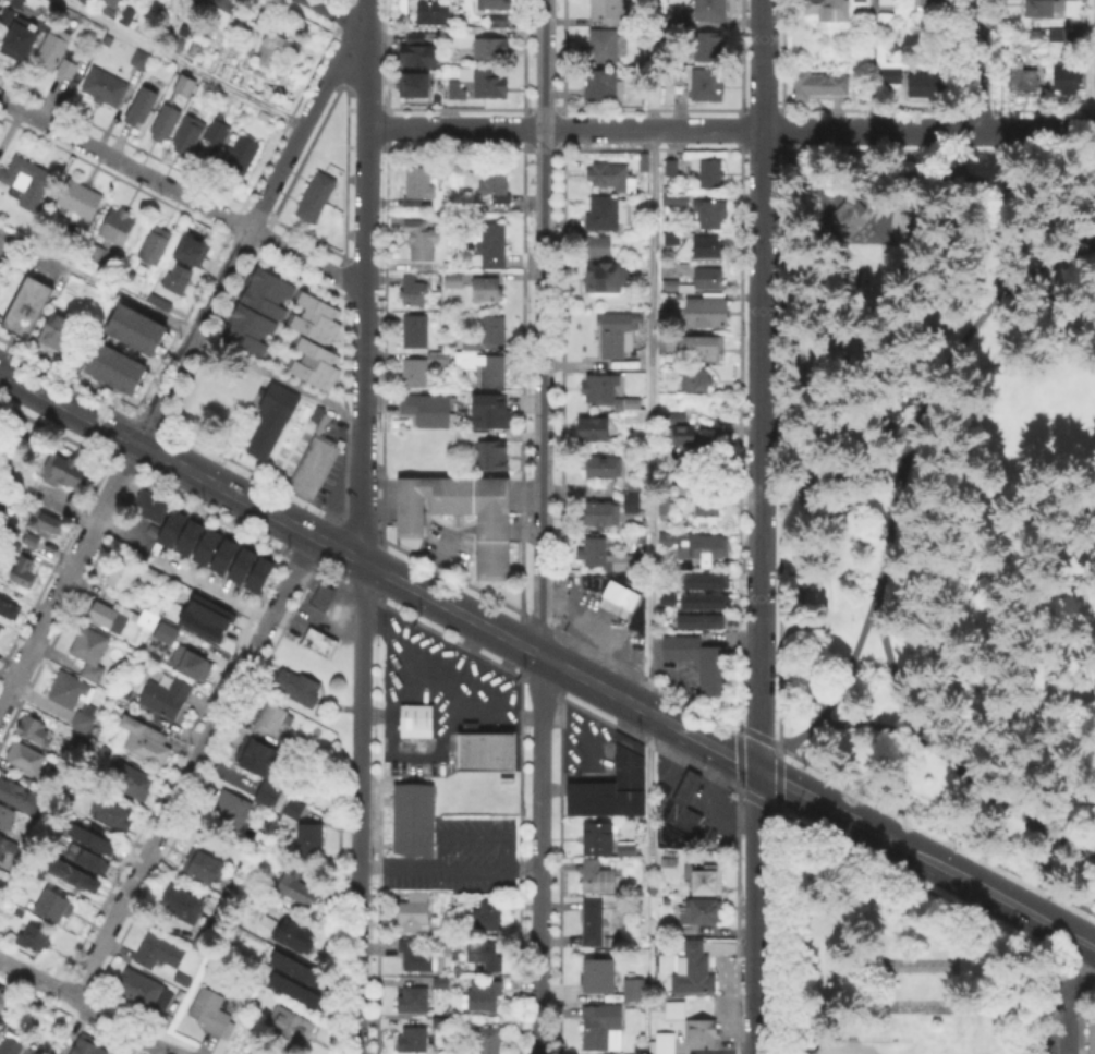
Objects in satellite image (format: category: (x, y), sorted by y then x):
building: (0, 0)
building: (86, 1)
building: (859, 1)
building: (109, 2)
building: (200, 2)
building: (886, 3)
building: (928, 4)
building: (489, 5)
building: (221, 11)
building: (708, 11)
building: (1037, 11)
building: (8, 13)
road: (342, 13)
building: (608, 13)
building: (823, 13)
building: (429, 15)
building: (671, 16)
building: (127, 17)
building: (184, 31)
building: (416, 37)
building: (19, 39)
building: (105, 39)
building: (49, 46)
building: (198, 47)
building: (604, 48)
building: (271, 49)
building: (706, 49)
building: (488, 51)
building: (421, 53)
building: (137, 58)
building: (65, 63)
road: (183, 63)
road: (868, 64)
road: (977, 65)
road: (1091, 65)
building: (165, 71)
building: (888, 76)
building: (417, 83)
building: (1021, 83)
building: (1064, 83)
building: (102, 85)
building: (478, 85)
building: (186, 86)
building: (601, 87)
building: (705, 87)
building: (817, 87)
building: (925, 90)
building: (142, 106)
building: (168, 124)
building: (1054, 128)
road: (671, 129)
road: (1036, 131)
building: (218, 133)
building: (190, 136)
road: (970, 148)
building: (242, 156)
building: (644, 162)
road: (925, 165)
building: (670, 168)
building: (713, 174)
building: (610, 178)
building: (27, 182)
building: (496, 184)
building: (417, 187)
road: (181, 193)
building: (76, 197)
building: (316, 198)
building: (678, 198)
road: (837, 202)
building: (853, 205)
road: (869, 209)
building: (608, 214)
building: (709, 216)
building: (839, 218)
fountain: (921, 221)
building: (119, 227)
road: (849, 231)
building: (672, 240)
building: (422, 242)
building: (156, 245)
building: (491, 246)
building: (190, 247)
building: (598, 247)
building: (709, 247)
building: (97, 254)
building: (604, 279)
building: (179, 280)
road: (365, 280)
building: (708, 280)
building: (454, 283)
building: (867, 286)
building: (672, 287)
building: (264, 291)
building: (488, 291)
building: (413, 293)
building: (28, 302)
building: (160, 303)
building: (708, 314)
building: (313, 316)
road: (181, 326)
building: (245, 327)
building: (134, 328)
building: (57, 331)
road: (836, 331)
building: (494, 332)
building: (415, 334)
building: (617, 336)
building: (703, 348)
building: (467, 353)
building: (313, 362)
road: (178, 363)
building: (113, 366)
building: (424, 369)
building: (492, 374)
building: (697, 383)
road: (761, 384)
building: (601, 390)
building: (633, 407)
building: (430, 411)
building: (491, 411)
building: (674, 419)
building: (273, 420)
road: (652, 429)
building: (593, 431)
building: (683, 436)
building: (492, 457)
building: (315, 462)
road: (180, 465)
road: (902, 468)
building: (604, 469)
building: (63, 471)
road: (574, 489)
building: (633, 504)
building: (708, 504)
building: (153, 507)
building: (665, 507)
building: (603, 516)
building: (39, 522)
road: (542, 526)
building: (171, 528)
building: (495, 530)
building: (188, 536)
building: (28, 538)
building: (694, 544)
building: (206, 546)
building: (223, 555)
building: (604, 557)
building: (241, 565)
building: (23, 573)
building: (258, 573)
building: (150, 574)
building: (121, 576)
building: (704, 581)
road: (207, 589)
park: (932, 592)
building: (324, 598)
building: (621, 601)
building: (704, 601)
building: (209, 609)
building: (8, 611)
building: (702, 620)
building: (131, 622)
building: (198, 623)
building: (1, 633)
building: (320, 644)
building: (90, 653)
building: (702, 664)
road: (362, 667)
road: (895, 674)
building: (178, 685)
building: (294, 688)
building: (68, 692)
building: (273, 718)
building: (83, 723)
building: (417, 723)
building: (33, 729)
road: (769, 740)
building: (146, 742)
building: (486, 751)
road: (729, 753)
building: (26, 759)
building: (258, 759)
road: (779, 762)
road: (954, 764)
road: (192, 767)
traffic signals: (759, 770)
building: (132, 780)
building: (615, 787)
building: (268, 796)
building: (21, 799)
building: (686, 805)
building: (232, 812)
building: (293, 813)
building: (112, 814)
building: (415, 814)
building: (7, 817)
building: (710, 833)
building: (88, 837)
building: (599, 840)
building: (311, 845)
building: (8, 849)
building: (626, 849)
building: (82, 856)
road: (450, 861)
building: (200, 864)
building: (671, 869)
building: (35, 873)
building: (72, 876)
building: (597, 879)
building: (709, 882)
building: (295, 888)
road: (358, 901)
building: (183, 906)
building: (53, 907)
road: (758, 911)
building: (413, 913)
building: (701, 913)
building: (488, 918)
building: (594, 923)
building: (291, 934)
building: (32, 940)
building: (160, 953)
building: (484, 955)
building: (417, 959)
building: (294, 967)
building: (694, 972)
building: (599, 978)
road: (36, 980)
building: (441, 984)
park: (914, 984)
building: (292, 989)
building: (145, 992)
building: (637, 992)
road: (1068, 997)
building: (3, 998)
building: (485, 998)
building: (415, 1001)
building: (676, 1011)
building: (212, 1014)
parking lot: (1062, 1016)
building: (441, 1026)
road: (125, 1027)
building: (291, 1028)
building: (604, 1029)
building: (1093, 1033)
building: (703, 1035)
building: (416, 1041)
building: (487, 1041)
road: (356, 1042)
building: (8, 1045)
building: (87, 1045)
building: (664, 1045)
park: (924, 1046)
building: (27, 1051)
building: (114, 1053)

